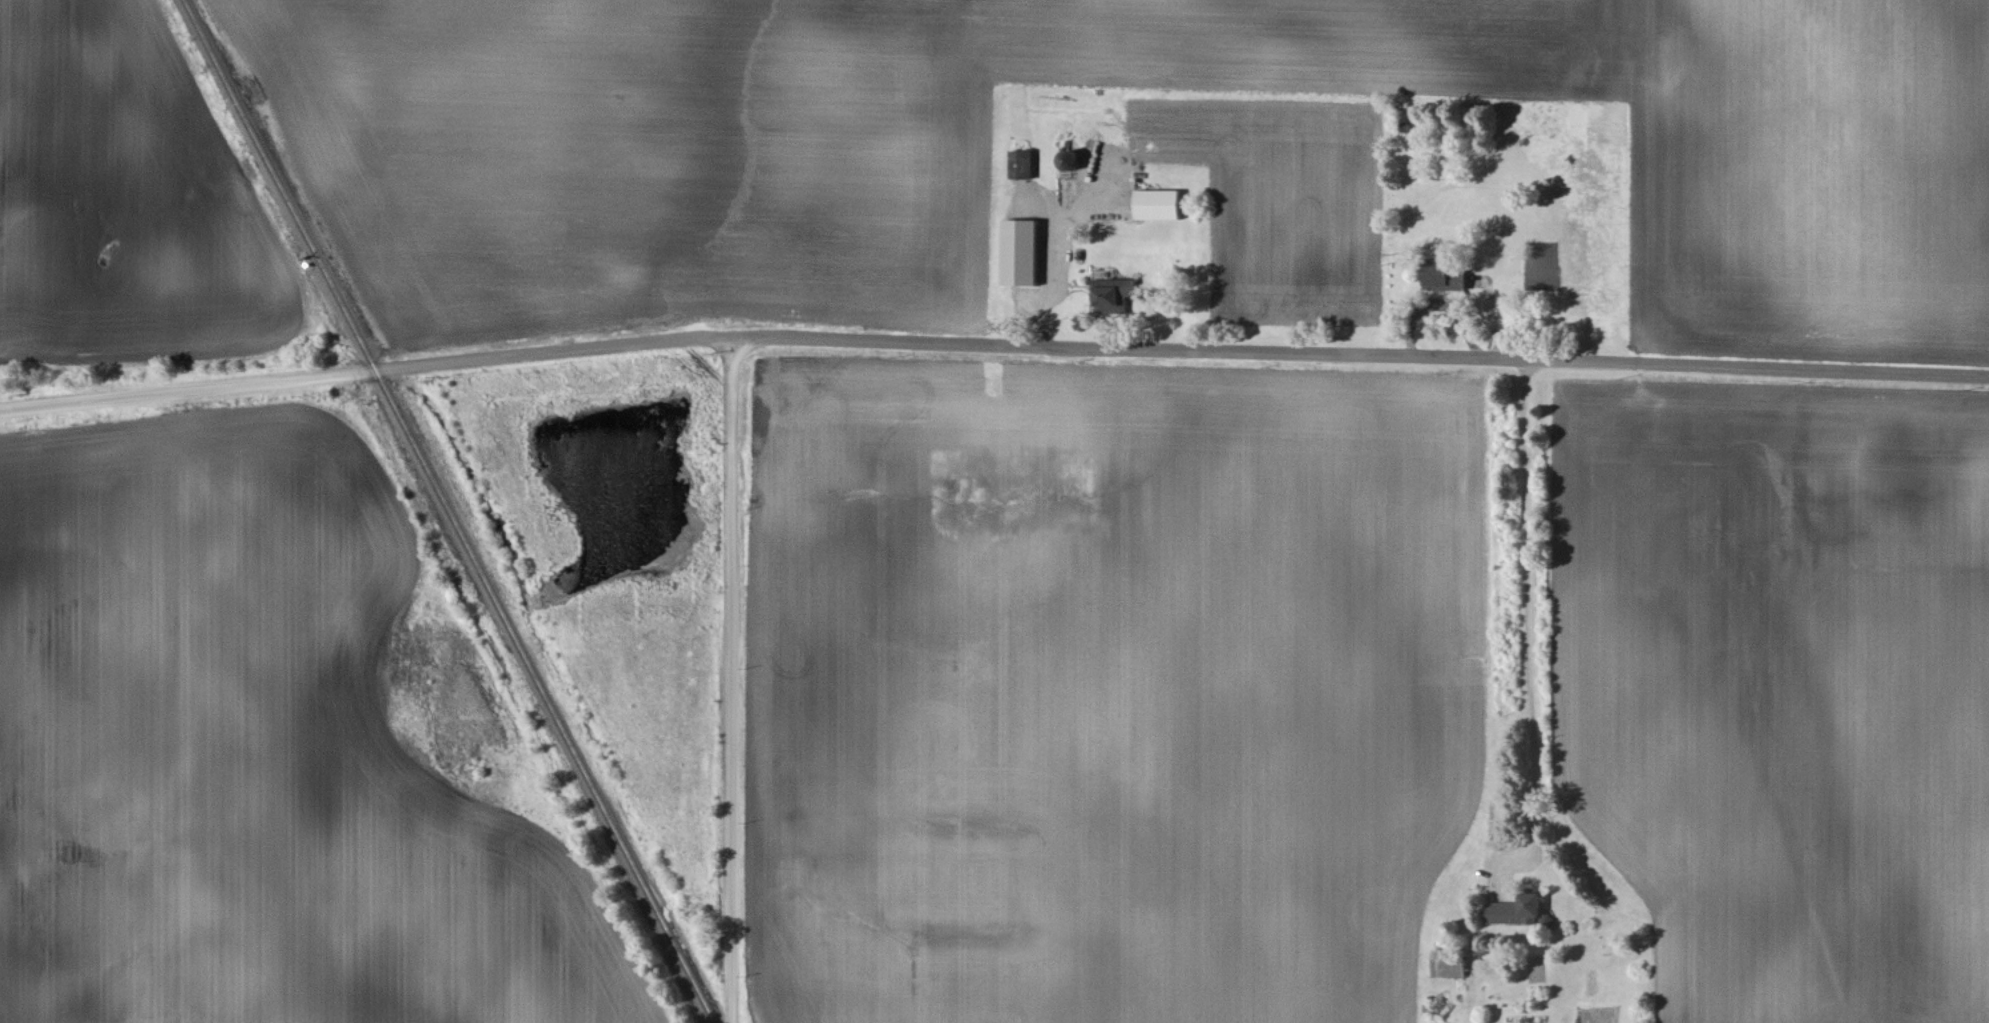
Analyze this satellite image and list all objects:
building: (1158, 207)
building: (1020, 255)
building: (1441, 280)
building: (1111, 302)
road: (992, 345)
railway: (448, 511)
road: (1528, 595)
road: (730, 681)
building: (1516, 911)
building: (1454, 971)

